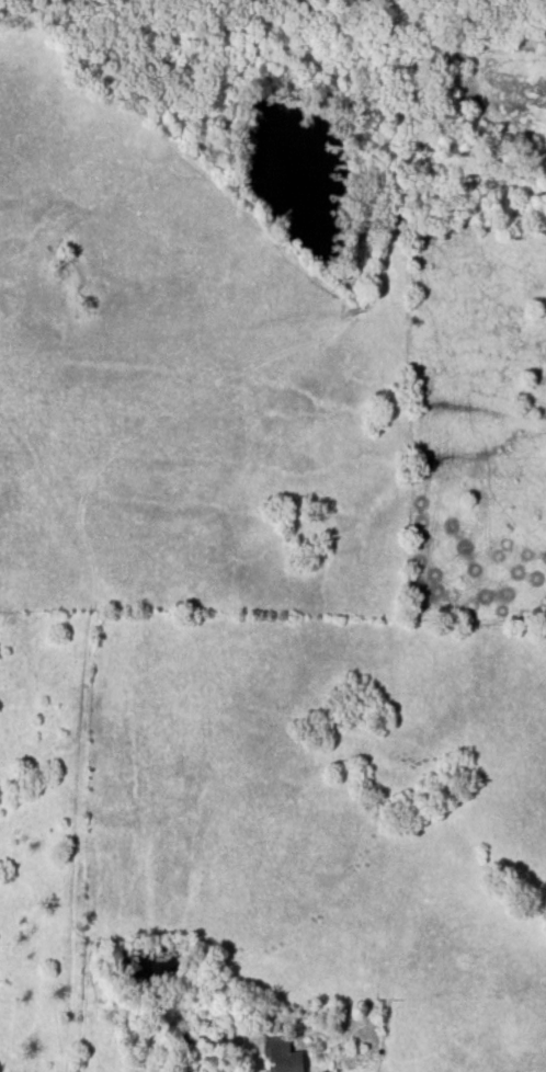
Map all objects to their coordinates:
road: (190, 1046)
building: (282, 1056)

